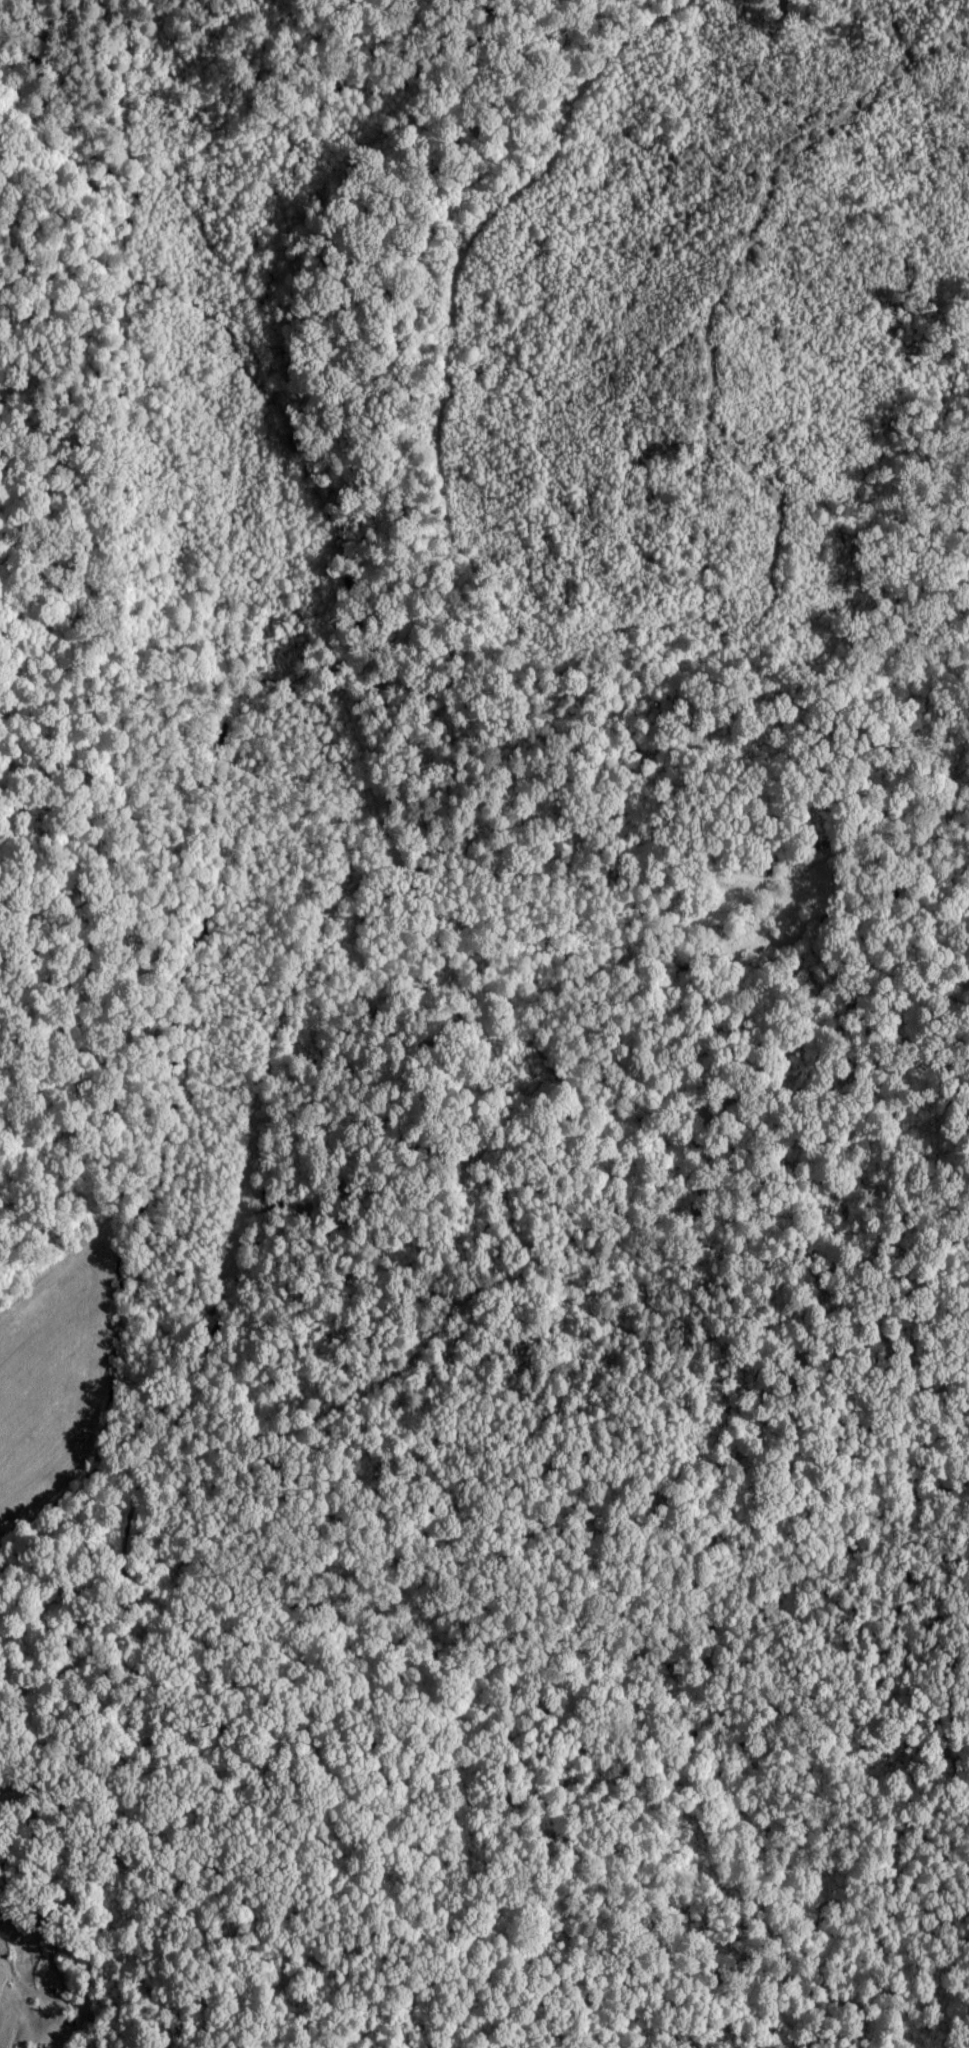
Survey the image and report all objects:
road: (21, 1593)

